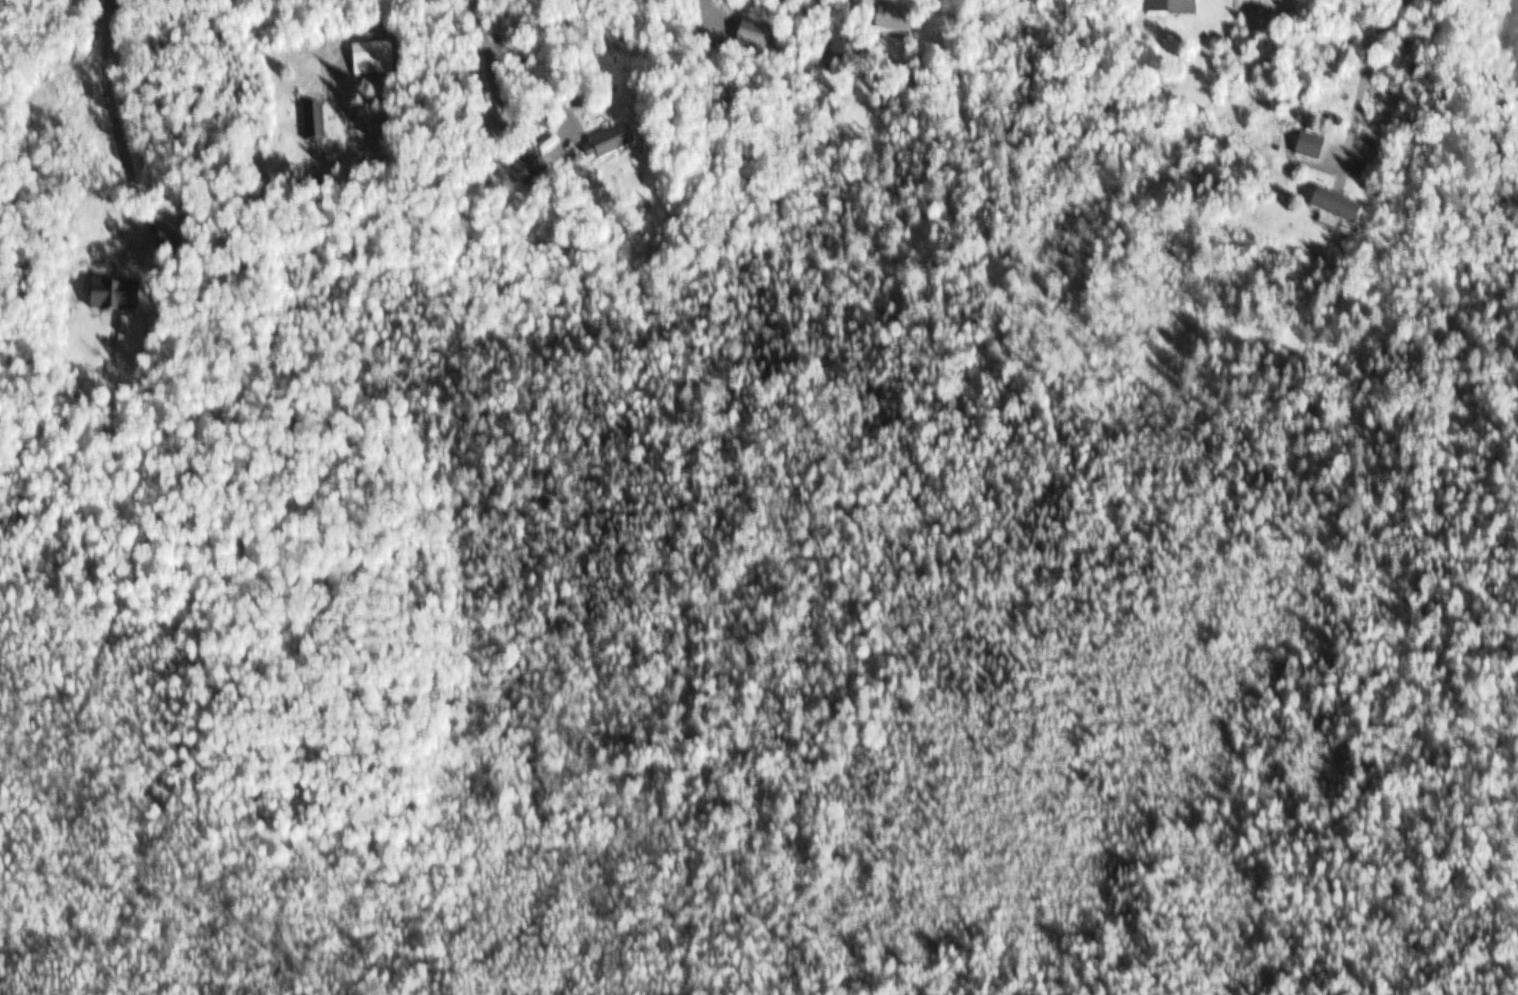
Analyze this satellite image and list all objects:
building: (1162, 9)
building: (854, 13)
building: (887, 23)
building: (365, 62)
building: (308, 126)
building: (599, 147)
building: (1302, 149)
building: (517, 173)
building: (1327, 210)

